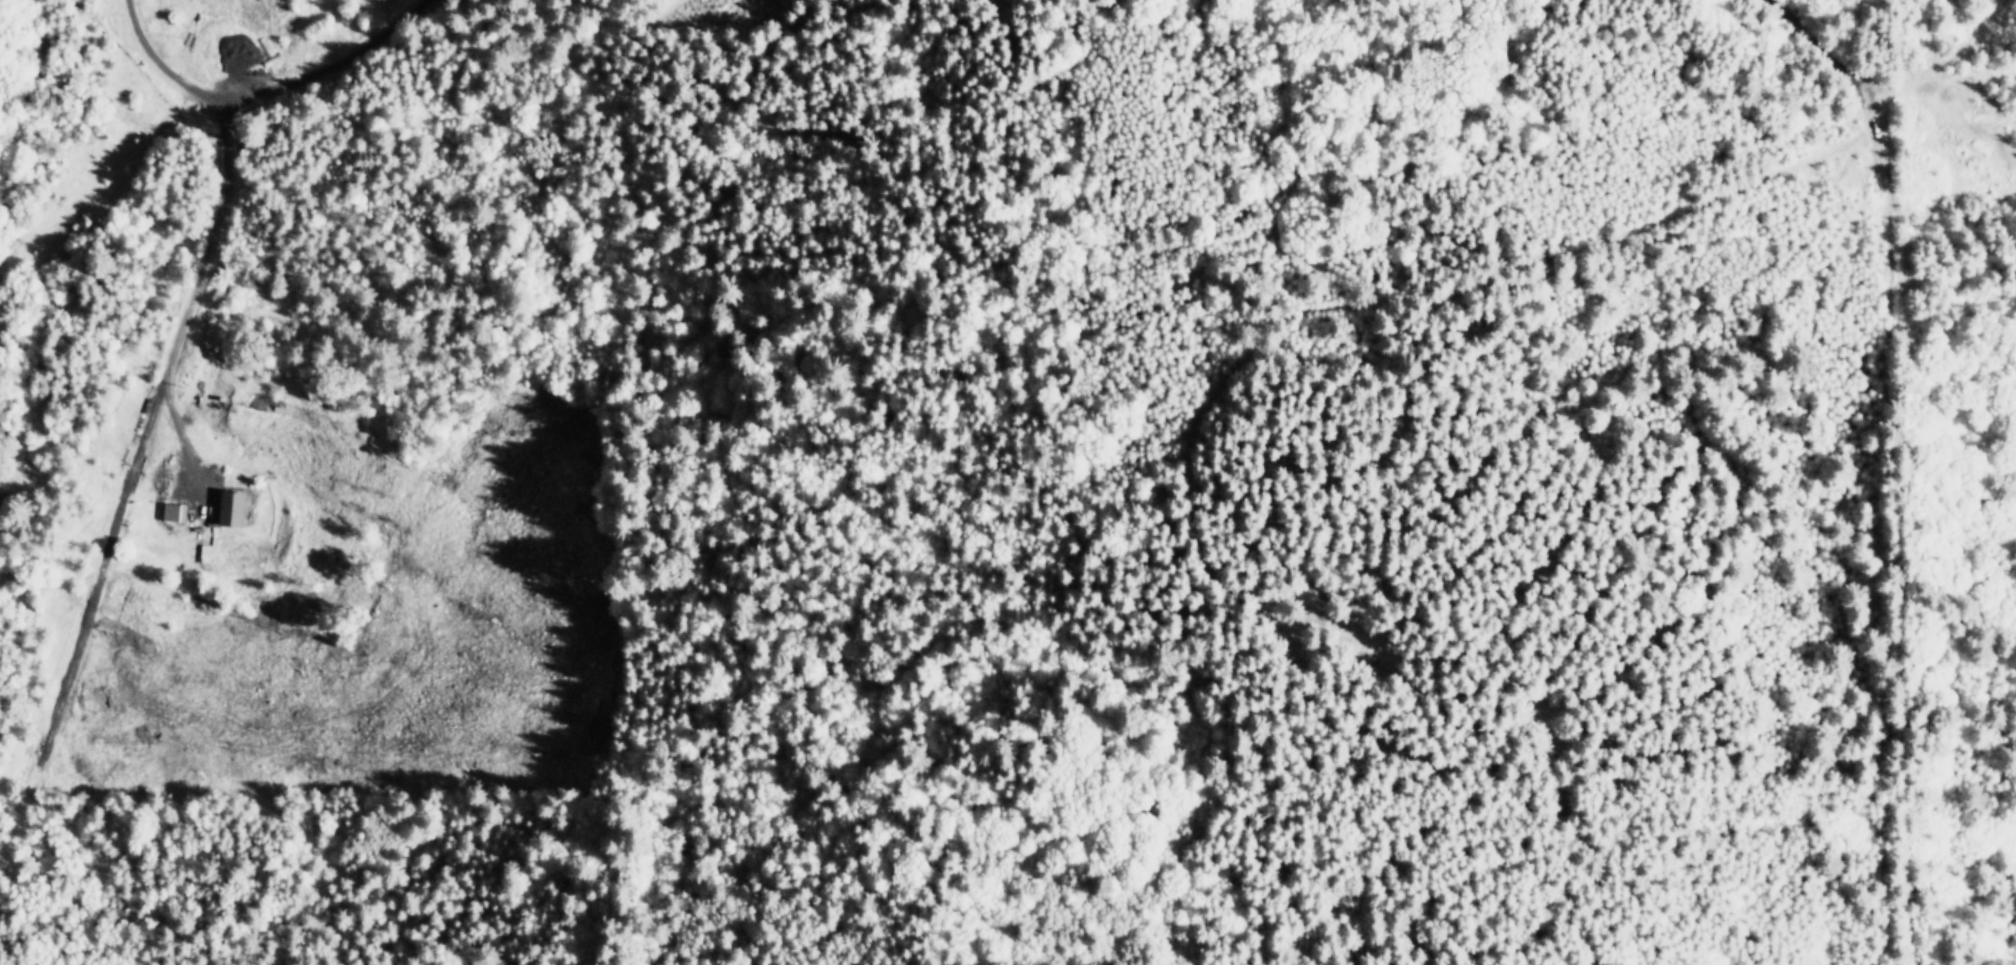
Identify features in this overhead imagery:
road: (157, 66)
road: (192, 298)
building: (230, 508)
building: (172, 512)

